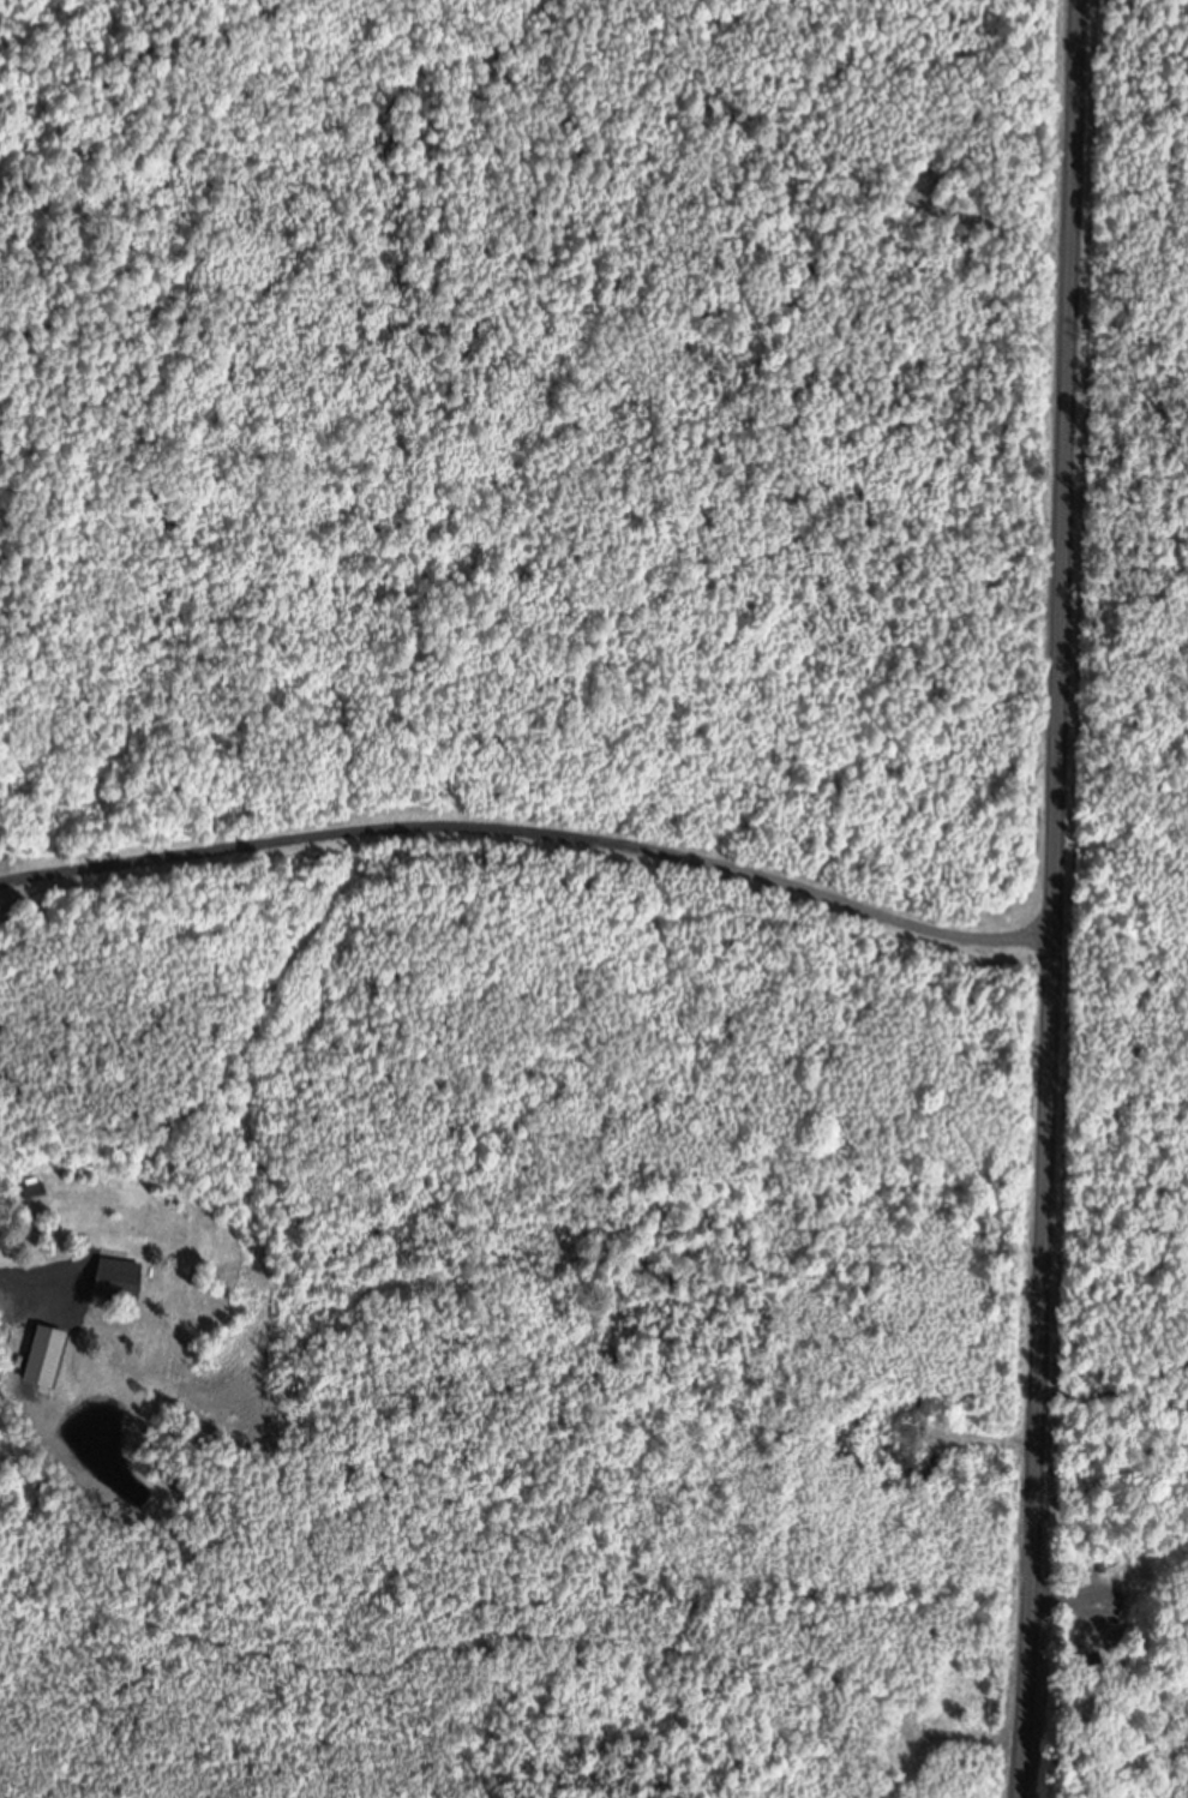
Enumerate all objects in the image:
road: (532, 834)
road: (1055, 899)
road: (38, 1277)
building: (115, 1282)
road: (1111, 1575)

